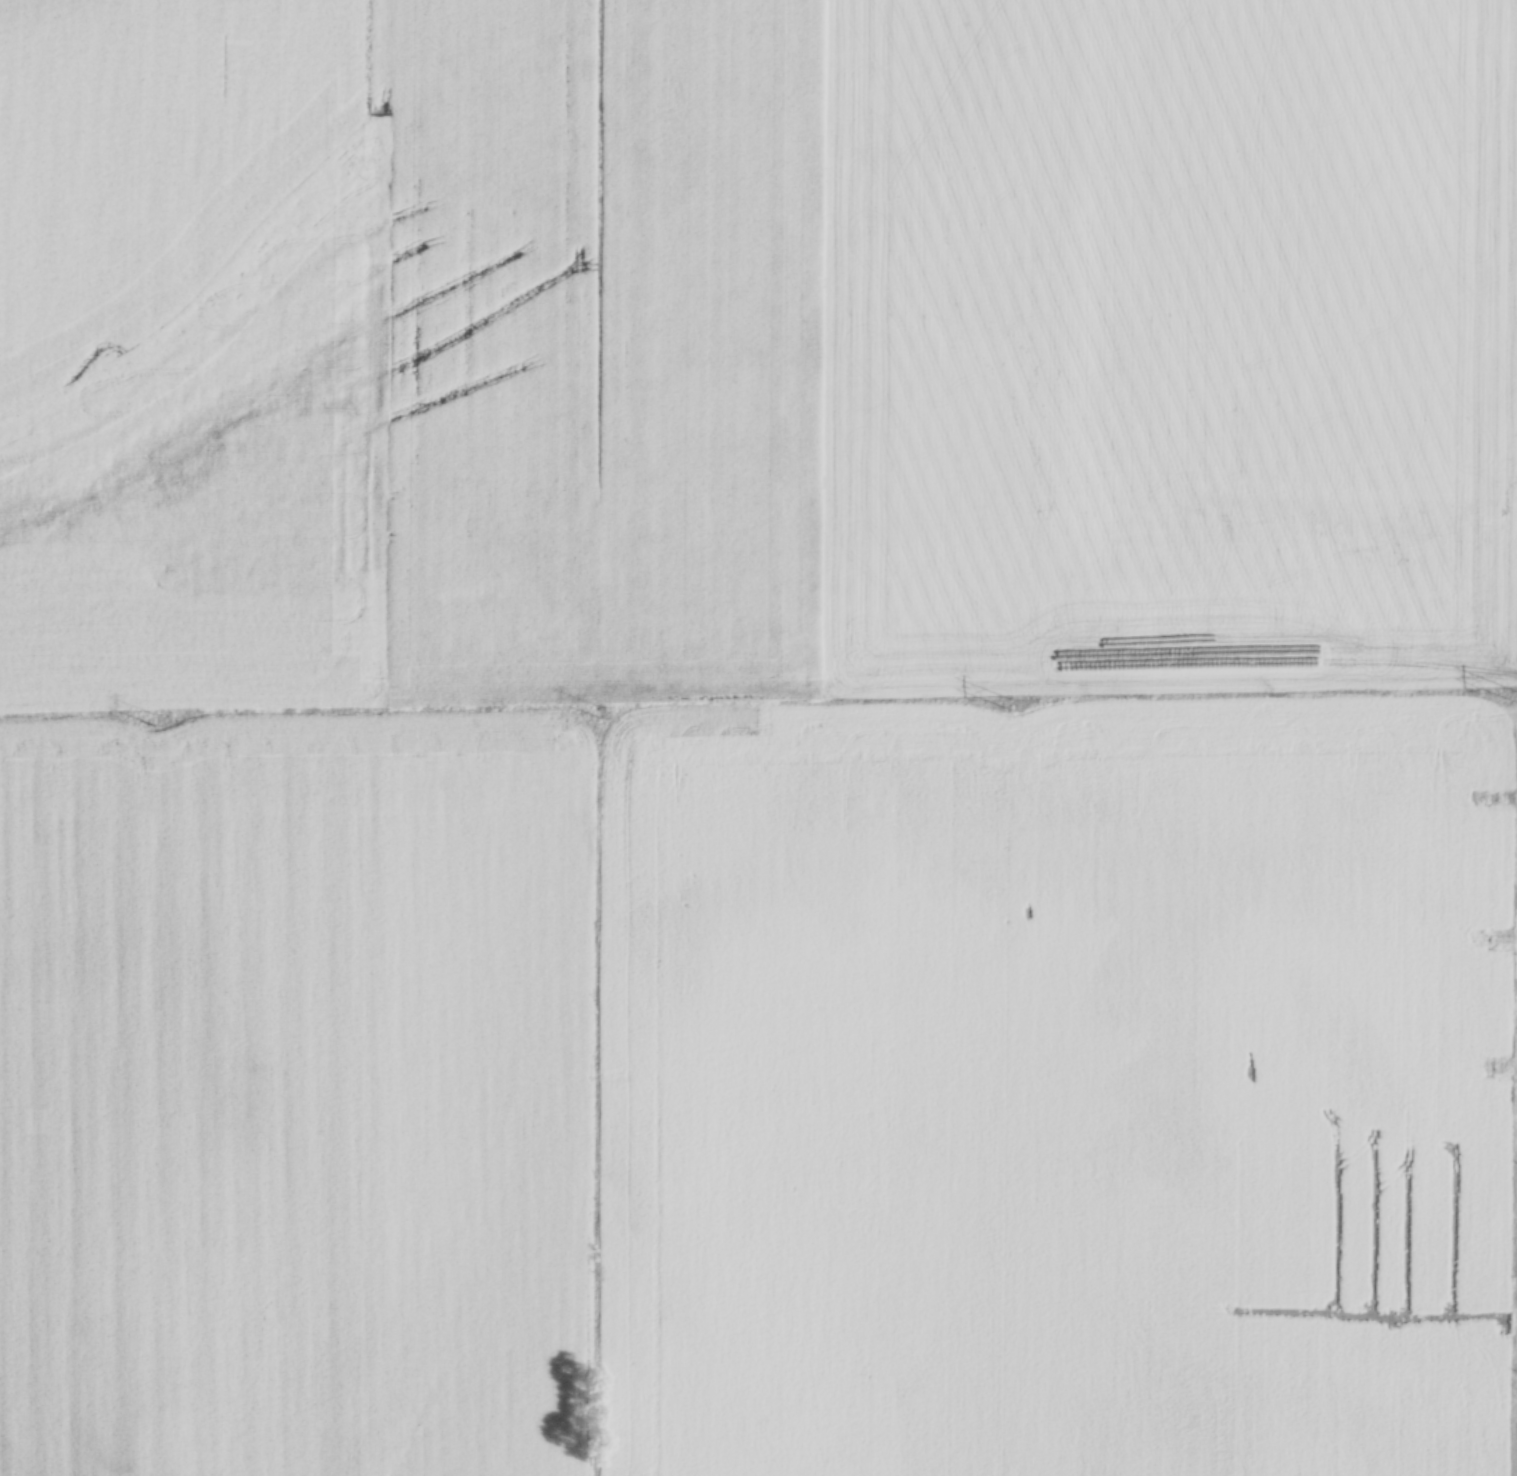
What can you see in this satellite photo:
power tower: (1508, 698)
power tower: (1009, 705)
power tower: (593, 713)
power tower: (159, 720)

